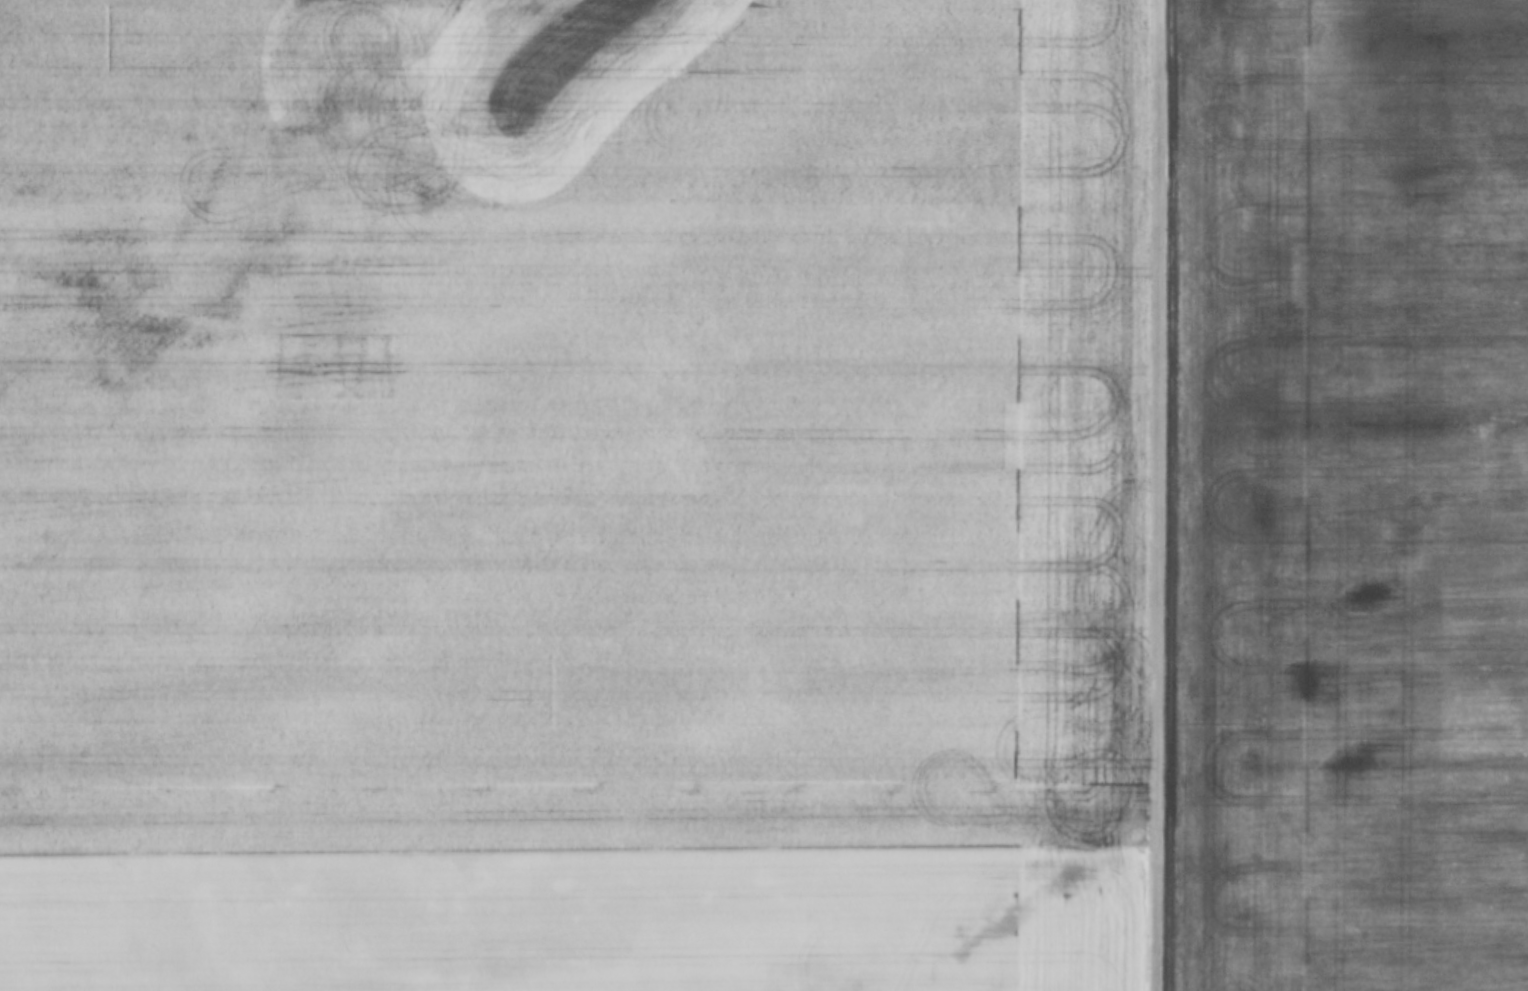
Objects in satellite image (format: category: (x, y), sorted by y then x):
road: (1163, 495)

